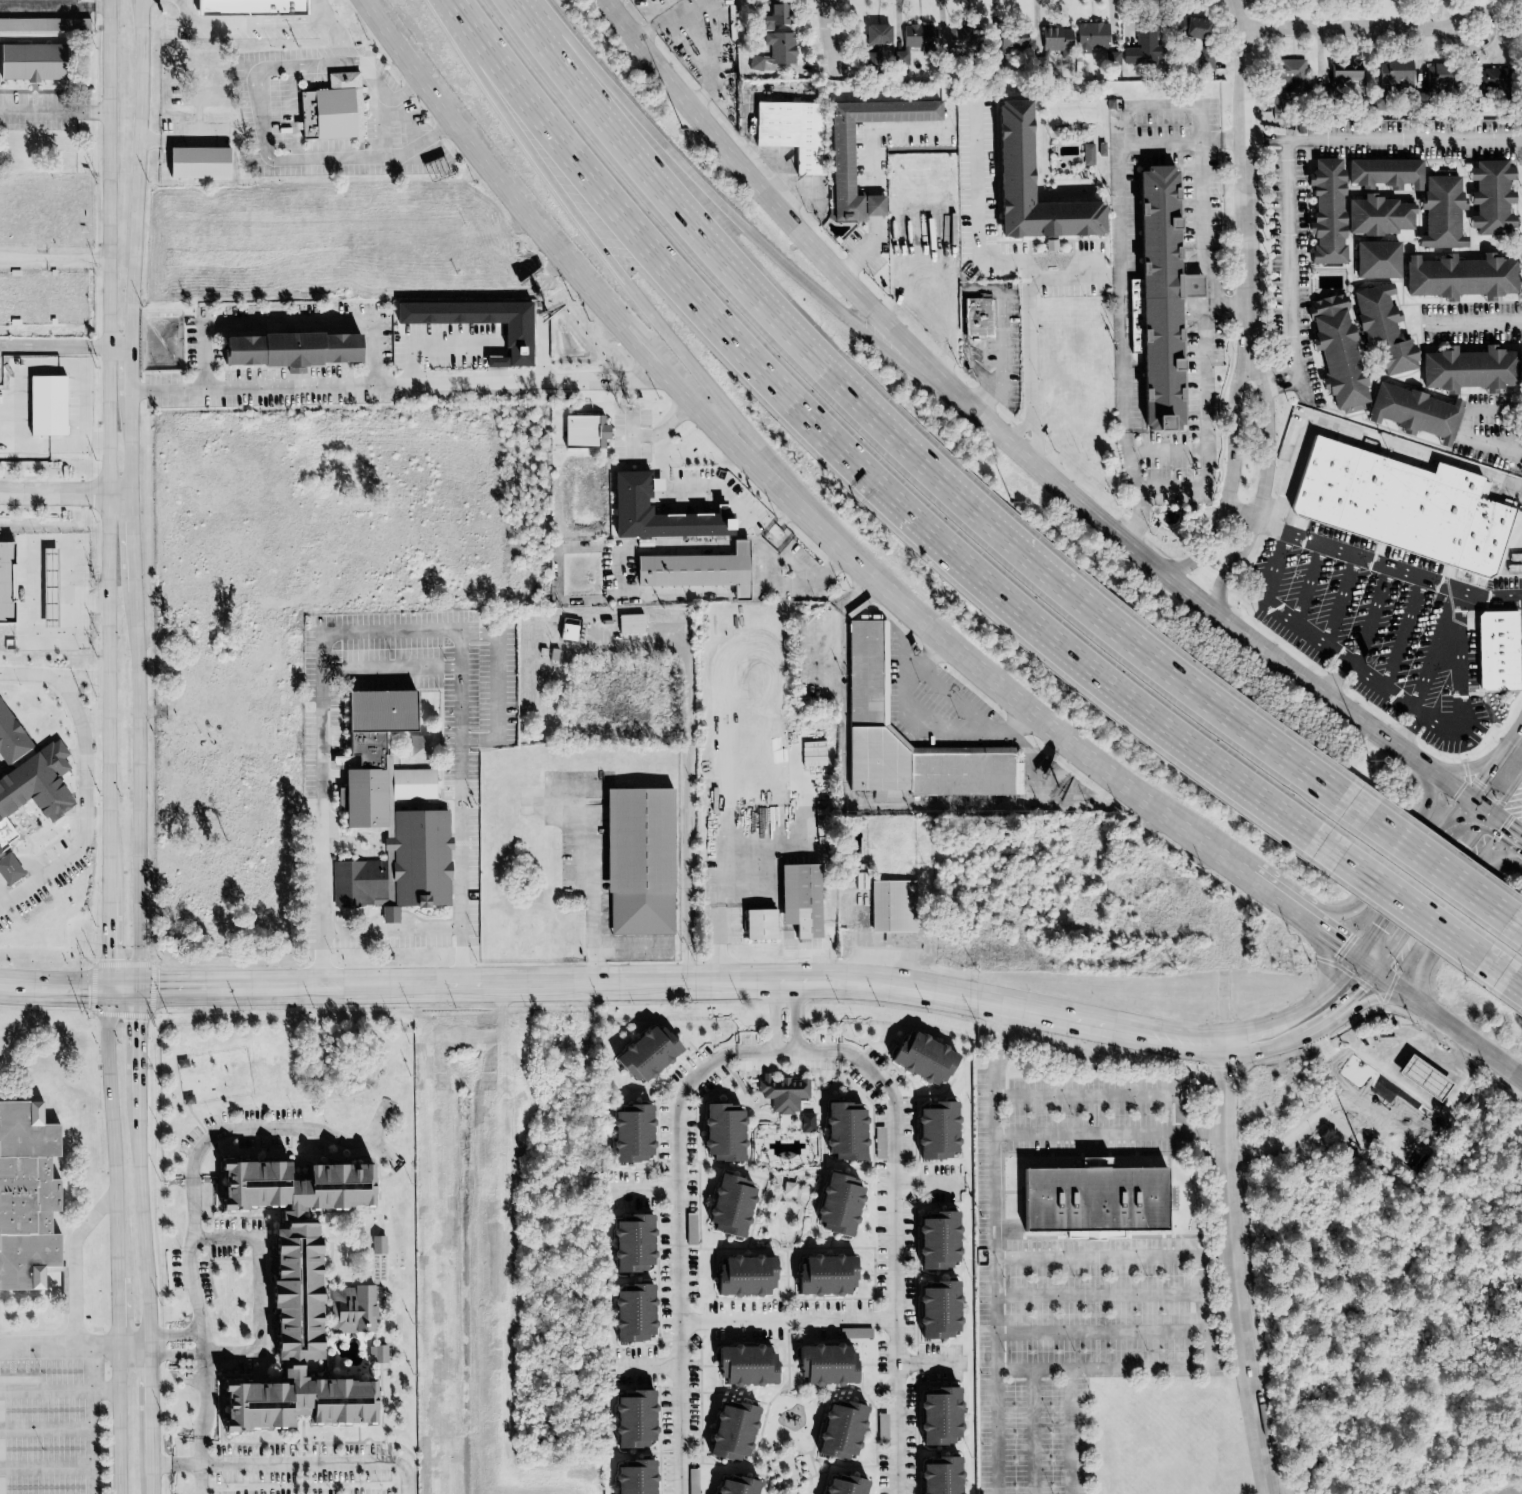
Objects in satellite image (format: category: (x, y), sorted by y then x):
building: (71, 0)
road: (157, 0)
road: (179, 5)
road: (54, 7)
building: (253, 8)
road: (326, 11)
road: (254, 23)
building: (44, 25)
road: (1356, 27)
building: (1191, 29)
building: (777, 33)
building: (877, 35)
building: (918, 37)
building: (1090, 37)
road: (829, 38)
building: (1054, 38)
road: (697, 39)
building: (959, 39)
building: (1007, 41)
road: (338, 43)
building: (1142, 48)
building: (870, 57)
road: (356, 62)
building: (1206, 62)
building: (30, 63)
building: (1343, 73)
building: (1391, 74)
road: (260, 76)
building: (1491, 79)
building: (1438, 80)
building: (1286, 81)
road: (405, 91)
road: (394, 103)
road: (1161, 107)
building: (334, 109)
road: (54, 111)
building: (789, 131)
road: (878, 131)
road: (435, 133)
road: (182, 138)
road: (1291, 139)
building: (1014, 154)
building: (1087, 154)
road: (347, 156)
building: (840, 157)
building: (201, 163)
road: (139, 173)
building: (1384, 173)
road: (1245, 176)
road: (787, 183)
road: (781, 196)
building: (1490, 197)
road: (1203, 200)
road: (876, 204)
building: (1326, 210)
building: (1440, 211)
building: (1377, 215)
road: (747, 230)
road: (462, 240)
building: (1049, 244)
road: (866, 249)
road: (23, 255)
road: (78, 256)
building: (1376, 259)
road: (1024, 264)
road: (1195, 264)
road: (1061, 276)
building: (1459, 276)
road: (1212, 280)
road: (1121, 281)
road: (1195, 285)
road: (981, 286)
building: (1158, 299)
road: (1201, 301)
road: (1227, 305)
building: (977, 317)
road: (1481, 320)
road: (292, 324)
road: (666, 328)
building: (1381, 329)
building: (515, 340)
road: (436, 342)
road: (66, 346)
building: (285, 348)
building: (1336, 352)
road: (497, 355)
building: (1469, 368)
road: (131, 369)
road: (498, 372)
road: (1279, 376)
road: (397, 387)
road: (982, 398)
building: (48, 404)
building: (1414, 411)
road: (82, 414)
road: (661, 429)
road: (1207, 429)
road: (1360, 429)
building: (583, 431)
road: (1496, 442)
road: (131, 443)
road: (1013, 444)
road: (904, 450)
road: (1168, 450)
road: (856, 476)
road: (1232, 477)
road: (764, 481)
road: (683, 487)
road: (1263, 488)
road: (65, 493)
building: (628, 503)
building: (1398, 505)
road: (133, 542)
road: (1372, 561)
building: (695, 570)
road: (1310, 582)
road: (782, 583)
building: (6, 584)
road: (1341, 600)
road: (26, 603)
road: (1371, 617)
road: (1293, 618)
building: (629, 623)
road: (346, 632)
building: (567, 632)
road: (1404, 635)
road: (1434, 651)
building: (1496, 651)
road: (1446, 662)
road: (391, 666)
building: (869, 674)
road: (54, 675)
road: (496, 684)
road: (1383, 688)
road: (958, 699)
road: (1465, 703)
road: (929, 724)
road: (109, 747)
road: (690, 754)
building: (375, 758)
road: (1495, 760)
road: (1464, 768)
building: (28, 776)
traffic signals: (1481, 781)
road: (139, 789)
road: (1508, 795)
road: (86, 810)
road: (1506, 824)
traffic signals: (1509, 826)
road: (802, 830)
traffic signals: (1467, 844)
road: (1396, 857)
building: (637, 860)
building: (399, 867)
road: (1438, 867)
building: (7, 869)
road: (1413, 877)
road: (590, 891)
road: (1432, 891)
building: (798, 899)
road: (1282, 904)
building: (891, 906)
road: (1412, 911)
road: (1456, 922)
building: (758, 924)
road: (1514, 924)
traffic signals: (1380, 925)
road: (393, 928)
road: (463, 939)
road: (1335, 942)
traffic signals: (1340, 945)
road: (1325, 960)
road: (1503, 976)
road: (651, 981)
road: (68, 988)
traffic signals: (110, 988)
traffic signals: (138, 988)
traffic signals: (1361, 988)
road: (1325, 993)
road: (1374, 999)
road: (1439, 1017)
road: (1253, 1028)
road: (1310, 1030)
road: (135, 1039)
road: (784, 1039)
road: (1191, 1041)
road: (811, 1050)
building: (643, 1054)
road: (1329, 1057)
building: (920, 1059)
road: (1449, 1064)
building: (1427, 1078)
gas station: (1427, 1078)
building: (782, 1093)
road: (1106, 1094)
road: (1337, 1096)
building: (806, 1123)
road: (995, 1130)
building: (842, 1131)
building: (933, 1131)
building: (1388, 1131)
building: (719, 1132)
road: (1110, 1132)
building: (628, 1134)
road: (212, 1136)
building: (879, 1142)
road: (925, 1183)
road: (642, 1189)
building: (29, 1198)
building: (1090, 1199)
building: (835, 1205)
building: (727, 1206)
road: (142, 1218)
building: (690, 1229)
road: (251, 1236)
building: (934, 1241)
building: (629, 1244)
building: (376, 1245)
road: (1217, 1253)
road: (677, 1257)
road: (890, 1258)
road: (77, 1262)
road: (1234, 1269)
building: (822, 1275)
building: (742, 1277)
building: (289, 1294)
road: (1100, 1294)
building: (351, 1309)
building: (935, 1311)
building: (630, 1314)
road: (784, 1319)
building: (854, 1333)
road: (1102, 1333)
road: (1208, 1340)
road: (134, 1345)
road: (59, 1346)
road: (177, 1346)
building: (375, 1354)
road: (927, 1363)
road: (640, 1366)
building: (742, 1366)
building: (823, 1366)
road: (1034, 1368)
road: (998, 1374)
road: (59, 1389)
road: (206, 1405)
road: (151, 1410)
building: (936, 1417)
building: (631, 1420)
road: (46, 1428)
building: (837, 1431)
road: (1033, 1431)
building: (729, 1432)
road: (92, 1441)
road: (301, 1463)
road: (175, 1464)
road: (46, 1467)
building: (937, 1476)
building: (632, 1478)
road: (152, 1484)
building: (732, 1486)
building: (842, 1486)
road: (1519, 1493)

